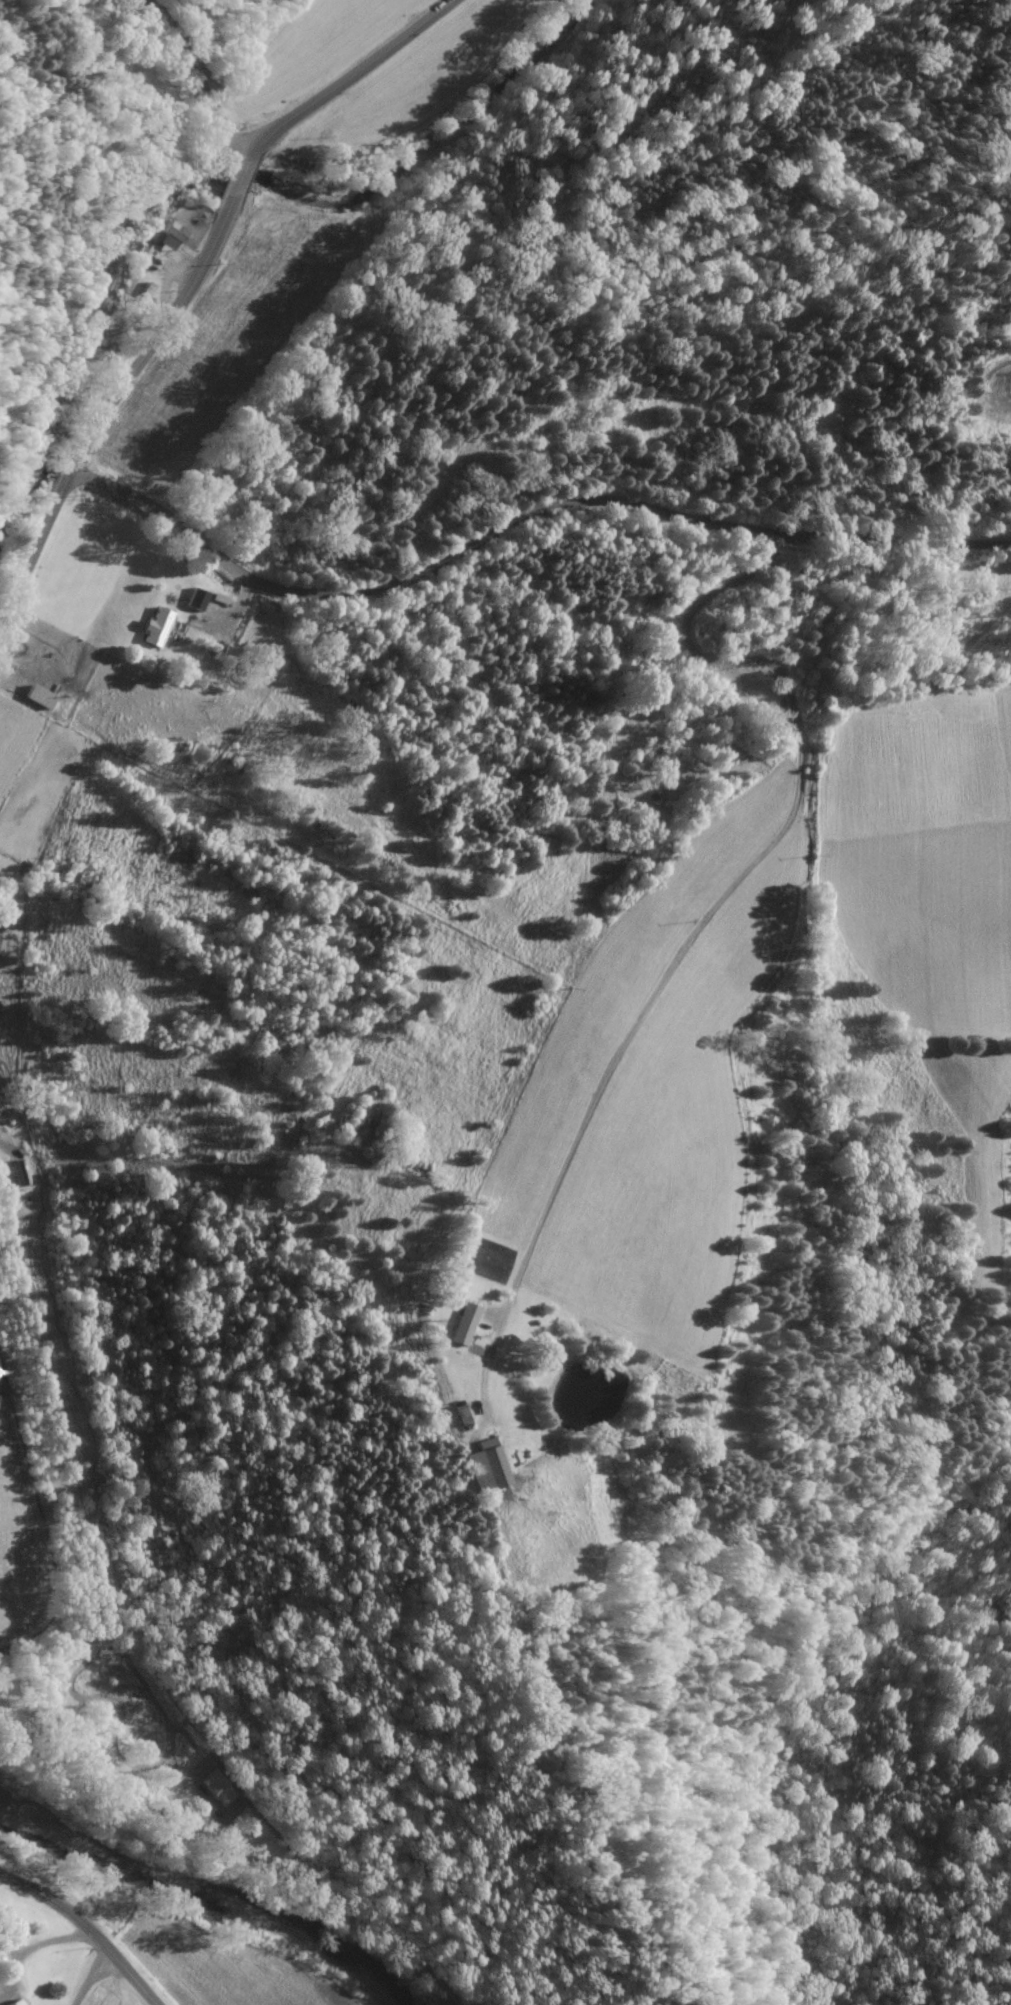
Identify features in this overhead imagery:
road: (196, 83)
building: (171, 238)
road: (196, 281)
road: (515, 516)
building: (195, 601)
building: (157, 628)
road: (735, 878)
building: (464, 1324)
building: (486, 1467)
road: (84, 1932)
building: (15, 2003)

